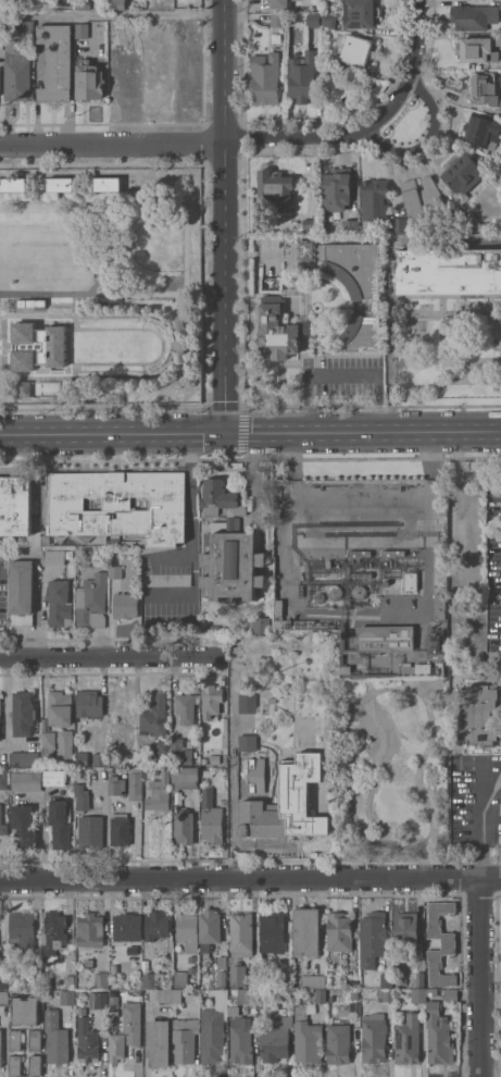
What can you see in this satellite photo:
building: (63, 2)
building: (153, 2)
building: (280, 3)
building: (82, 4)
building: (117, 4)
building: (500, 5)
road: (113, 13)
building: (361, 14)
building: (473, 16)
building: (278, 20)
building: (313, 20)
building: (328, 22)
building: (25, 25)
building: (82, 30)
building: (2, 34)
building: (478, 48)
building: (356, 50)
building: (55, 62)
building: (17, 72)
building: (302, 76)
building: (265, 78)
building: (0, 79)
building: (89, 82)
building: (484, 88)
park: (408, 123)
road: (370, 126)
building: (481, 134)
road: (426, 140)
road: (114, 149)
building: (500, 169)
building: (464, 175)
building: (13, 184)
building: (60, 184)
building: (108, 184)
building: (276, 187)
building: (337, 188)
building: (421, 195)
building: (374, 198)
road: (226, 216)
building: (400, 224)
building: (311, 225)
building: (350, 226)
building: (308, 252)
building: (447, 271)
building: (356, 288)
building: (279, 330)
building: (38, 346)
road: (341, 372)
building: (24, 388)
road: (250, 433)
traffic signals: (226, 434)
road: (250, 480)
building: (118, 506)
road: (360, 506)
building: (16, 508)
road: (191, 544)
road: (285, 546)
building: (229, 547)
building: (79, 552)
building: (404, 553)
building: (53, 557)
road: (177, 557)
building: (114, 572)
building: (361, 574)
building: (411, 581)
building: (335, 592)
building: (359, 592)
building: (21, 593)
building: (318, 597)
building: (91, 601)
building: (59, 603)
building: (125, 605)
building: (440, 606)
building: (280, 608)
building: (259, 624)
building: (387, 637)
road: (112, 654)
building: (415, 668)
building: (211, 700)
building: (272, 700)
building: (248, 703)
building: (89, 704)
building: (0, 705)
road: (5, 706)
building: (186, 707)
building: (60, 708)
building: (23, 714)
building: (479, 715)
building: (154, 717)
building: (248, 742)
building: (48, 745)
building: (64, 747)
building: (162, 747)
building: (180, 753)
building: (24, 758)
building: (82, 759)
building: (100, 759)
building: (216, 759)
road: (234, 765)
building: (149, 771)
building: (55, 778)
building: (185, 778)
building: (3, 779)
building: (26, 781)
building: (116, 783)
building: (135, 784)
building: (159, 793)
building: (82, 799)
building: (288, 802)
building: (211, 819)
road: (481, 820)
building: (60, 824)
building: (2, 826)
building: (23, 827)
building: (184, 827)
building: (120, 829)
building: (90, 831)
road: (250, 876)
building: (127, 927)
building: (405, 928)
building: (158, 929)
building: (22, 930)
building: (90, 930)
building: (188, 930)
building: (209, 930)
building: (306, 931)
building: (339, 931)
building: (54, 932)
building: (241, 933)
building: (272, 933)
building: (373, 939)
building: (448, 943)
building: (131, 951)
building: (222, 962)
building: (149, 963)
building: (89, 964)
building: (191, 964)
road: (481, 975)
building: (208, 976)
building: (237, 976)
building: (3, 978)
building: (35, 978)
building: (221, 978)
building: (180, 979)
building: (419, 979)
building: (101, 980)
building: (152, 980)
building: (251, 981)
building: (313, 981)
building: (386, 981)
building: (68, 982)
building: (80, 992)
building: (195, 992)
building: (286, 994)
building: (170, 995)
building: (248, 995)
building: (321, 995)
building: (354, 995)
building: (385, 995)
building: (418, 995)
building: (3, 998)
building: (66, 998)
building: (101, 1000)
building: (114, 1002)
building: (25, 1011)
building: (133, 1023)
building: (439, 1026)
building: (214, 1027)
building: (306, 1037)
building: (374, 1037)
building: (55, 1038)
building: (240, 1038)
building: (276, 1038)
building: (35, 1039)
building: (185, 1039)
building: (15, 1040)
building: (408, 1040)
building: (88, 1041)
building: (159, 1042)
building: (338, 1043)
building: (0, 1048)
building: (117, 1048)
building: (15, 1065)
building: (35, 1065)

